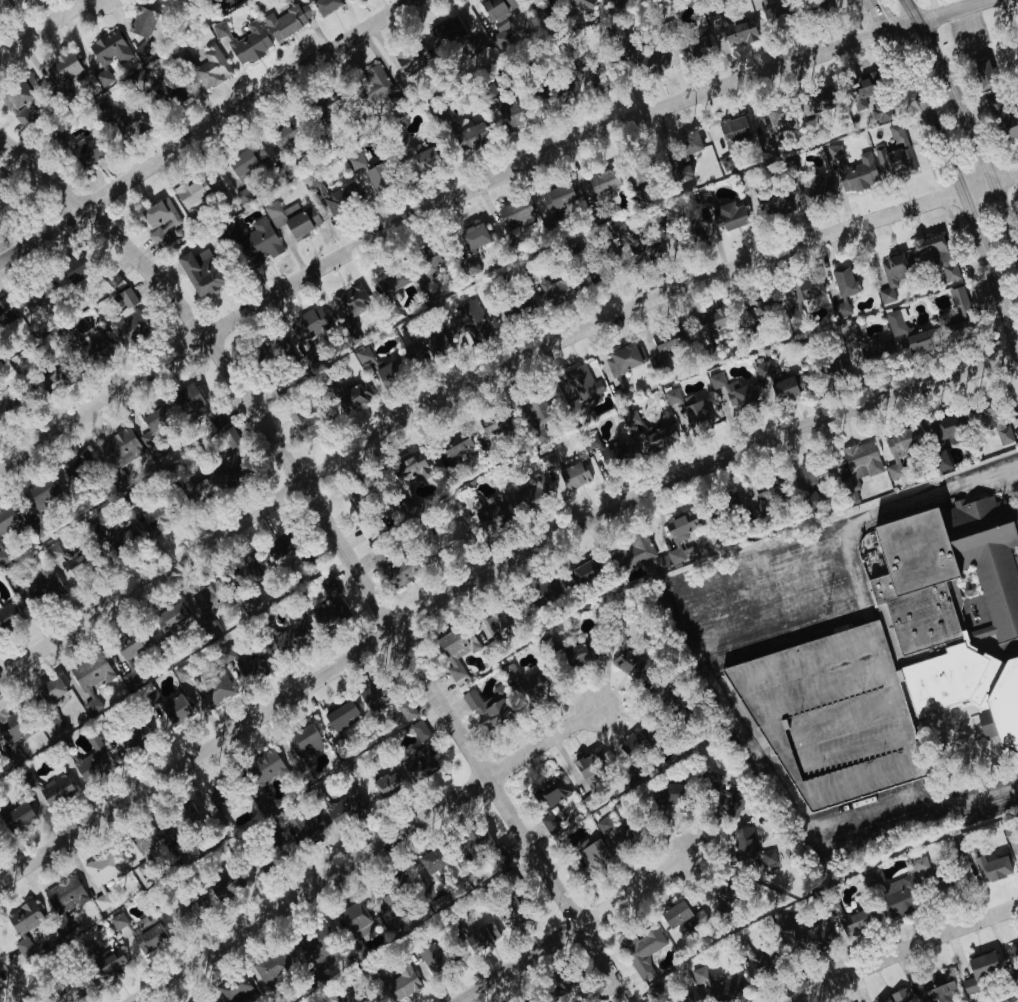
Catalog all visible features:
building: (757, 3)
building: (833, 3)
building: (3, 4)
building: (580, 4)
building: (324, 5)
building: (618, 5)
building: (497, 12)
building: (772, 13)
road: (875, 17)
building: (285, 20)
building: (140, 22)
road: (42, 26)
building: (739, 29)
building: (445, 32)
building: (243, 40)
building: (697, 46)
building: (470, 47)
building: (108, 49)
building: (410, 58)
building: (648, 60)
building: (211, 67)
building: (65, 70)
building: (985, 73)
building: (371, 87)
building: (170, 92)
building: (868, 97)
building: (818, 100)
building: (19, 101)
building: (319, 114)
building: (509, 117)
building: (1002, 118)
building: (777, 119)
building: (131, 120)
road: (967, 124)
road: (205, 129)
building: (733, 131)
building: (279, 135)
building: (468, 136)
building: (55, 138)
building: (688, 142)
building: (411, 150)
building: (897, 151)
building: (83, 152)
building: (833, 152)
building: (354, 161)
building: (239, 162)
building: (681, 172)
building: (858, 173)
building: (375, 176)
building: (1, 178)
building: (601, 181)
building: (815, 188)
road: (962, 188)
road: (473, 190)
building: (190, 192)
building: (556, 196)
building: (637, 196)
building: (340, 198)
building: (702, 199)
building: (772, 204)
building: (515, 214)
building: (729, 215)
building: (291, 218)
building: (156, 221)
building: (694, 232)
building: (472, 238)
building: (251, 239)
building: (641, 248)
building: (929, 250)
building: (71, 270)
building: (425, 271)
building: (198, 272)
building: (949, 273)
building: (892, 274)
building: (590, 280)
building: (389, 281)
building: (842, 281)
building: (553, 290)
building: (806, 293)
building: (35, 295)
building: (349, 302)
building: (516, 307)
building: (840, 308)
building: (4, 309)
building: (759, 309)
building: (957, 310)
building: (126, 318)
building: (466, 323)
building: (305, 330)
building: (709, 332)
building: (63, 335)
building: (892, 339)
building: (91, 348)
building: (429, 348)
building: (276, 350)
building: (361, 355)
building: (618, 363)
building: (829, 370)
building: (386, 373)
road: (488, 380)
building: (775, 383)
building: (580, 392)
building: (732, 395)
building: (353, 396)
building: (197, 410)
building: (535, 411)
building: (695, 417)
building: (630, 418)
building: (302, 423)
building: (987, 425)
building: (946, 427)
building: (493, 428)
building: (149, 429)
building: (658, 438)
building: (589, 440)
building: (118, 448)
building: (453, 448)
building: (898, 449)
building: (619, 453)
building: (860, 460)
building: (548, 462)
building: (939, 462)
building: (76, 467)
building: (228, 468)
building: (811, 474)
building: (567, 476)
building: (118, 481)
building: (765, 491)
road: (931, 492)
building: (528, 494)
building: (39, 495)
road: (320, 504)
building: (149, 516)
building: (491, 517)
building: (7, 521)
building: (374, 528)
building: (94, 529)
building: (679, 534)
building: (449, 539)
building: (277, 548)
building: (638, 556)
building: (63, 560)
building: (398, 570)
road: (486, 572)
building: (42, 589)
building: (544, 591)
building: (203, 600)
building: (248, 603)
building: (8, 616)
building: (329, 616)
building: (169, 618)
building: (496, 619)
building: (290, 633)
road: (787, 639)
building: (131, 646)
building: (455, 649)
road: (696, 651)
building: (576, 655)
building: (898, 658)
building: (630, 664)
building: (248, 668)
building: (506, 671)
building: (129, 676)
building: (89, 679)
building: (212, 689)
building: (48, 690)
building: (661, 695)
building: (369, 698)
building: (485, 708)
building: (405, 710)
building: (171, 713)
building: (340, 716)
building: (54, 726)
building: (13, 729)
building: (418, 731)
building: (302, 741)
building: (630, 745)
building: (92, 762)
building: (419, 764)
building: (588, 773)
building: (261, 776)
building: (385, 784)
building: (48, 789)
building: (550, 792)
building: (667, 794)
road: (966, 800)
building: (727, 802)
building: (342, 807)
road: (959, 811)
road: (863, 812)
building: (17, 816)
building: (182, 817)
road: (975, 819)
building: (548, 823)
building: (603, 829)
building: (304, 831)
building: (142, 841)
building: (472, 843)
building: (746, 846)
building: (1017, 849)
road: (364, 854)
building: (592, 855)
building: (497, 859)
building: (270, 860)
building: (429, 862)
building: (102, 868)
building: (988, 870)
building: (871, 878)
building: (225, 882)
road: (633, 889)
building: (431, 890)
building: (64, 895)
building: (900, 895)
building: (183, 910)
building: (508, 912)
building: (679, 916)
building: (352, 918)
building: (387, 918)
building: (846, 919)
building: (117, 921)
building: (22, 925)
building: (147, 934)
building: (479, 934)
building: (814, 936)
building: (355, 951)
building: (643, 952)
road: (906, 952)
building: (1014, 953)
building: (429, 957)
building: (754, 962)
road: (517, 963)
road: (602, 963)
building: (108, 966)
building: (270, 968)
building: (983, 970)
road: (12, 981)
building: (399, 983)
building: (714, 985)
building: (234, 989)
building: (937, 989)
building: (654, 992)
building: (899, 996)
building: (687, 999)
building: (355, 1000)

